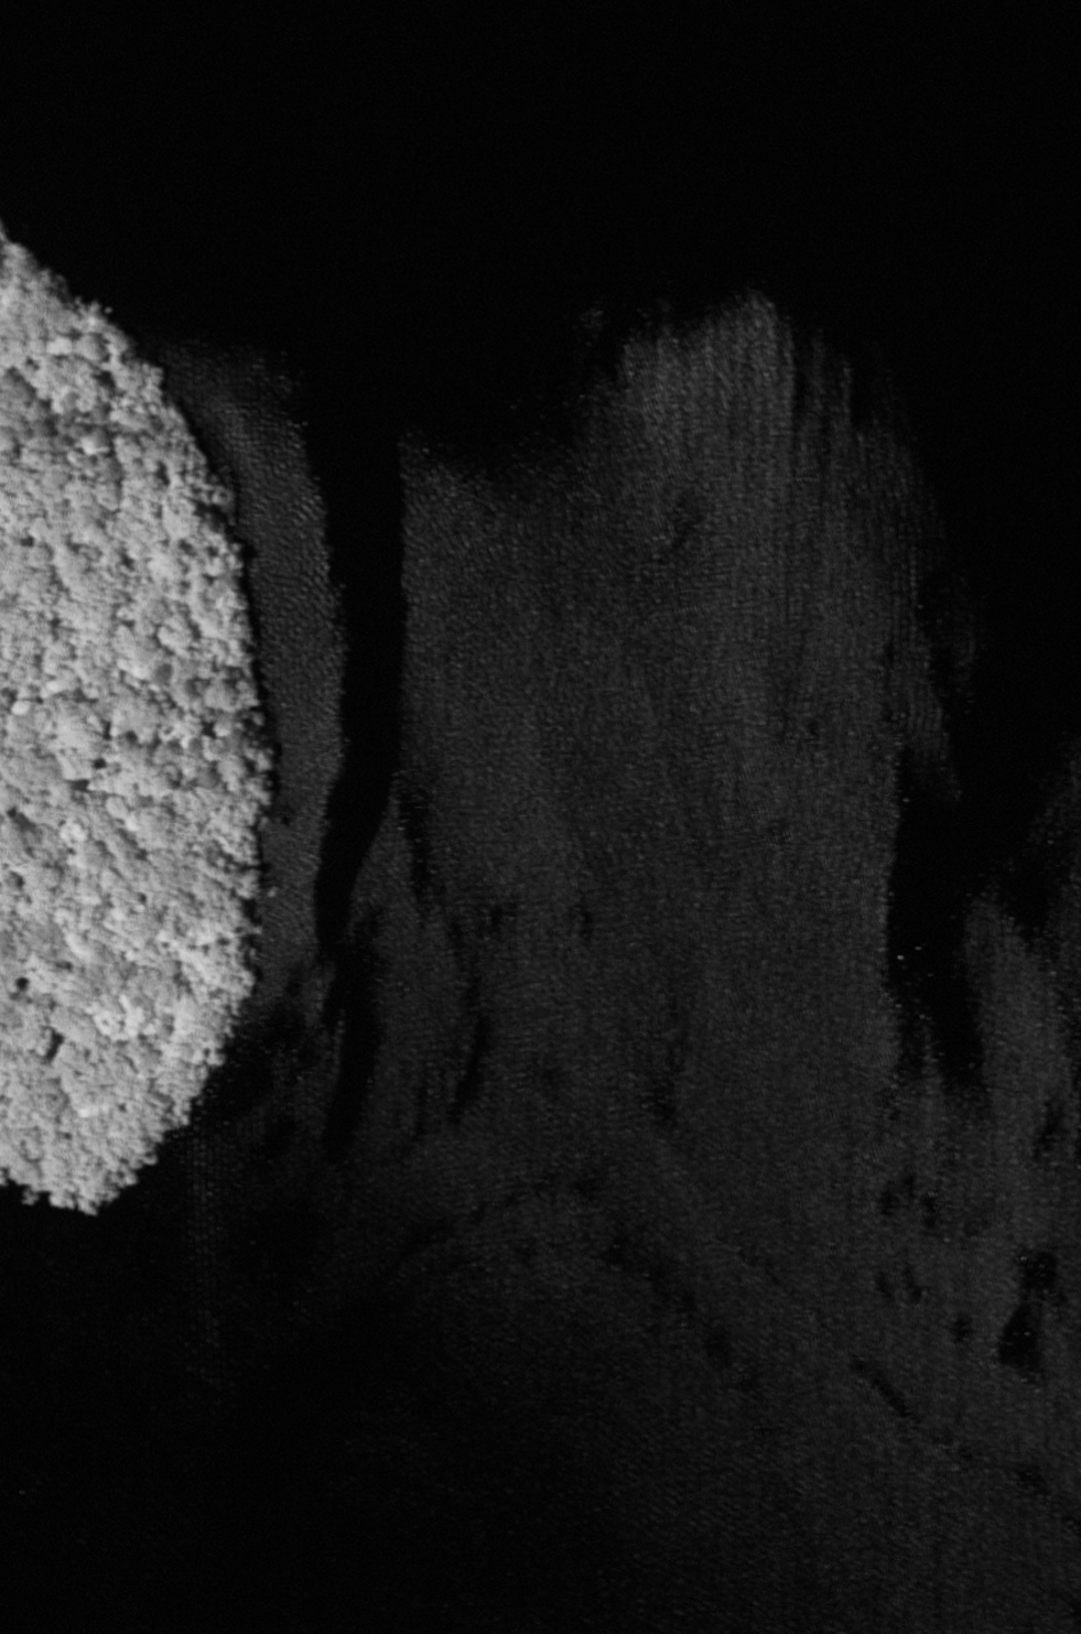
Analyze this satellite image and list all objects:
road: (22, 983)

